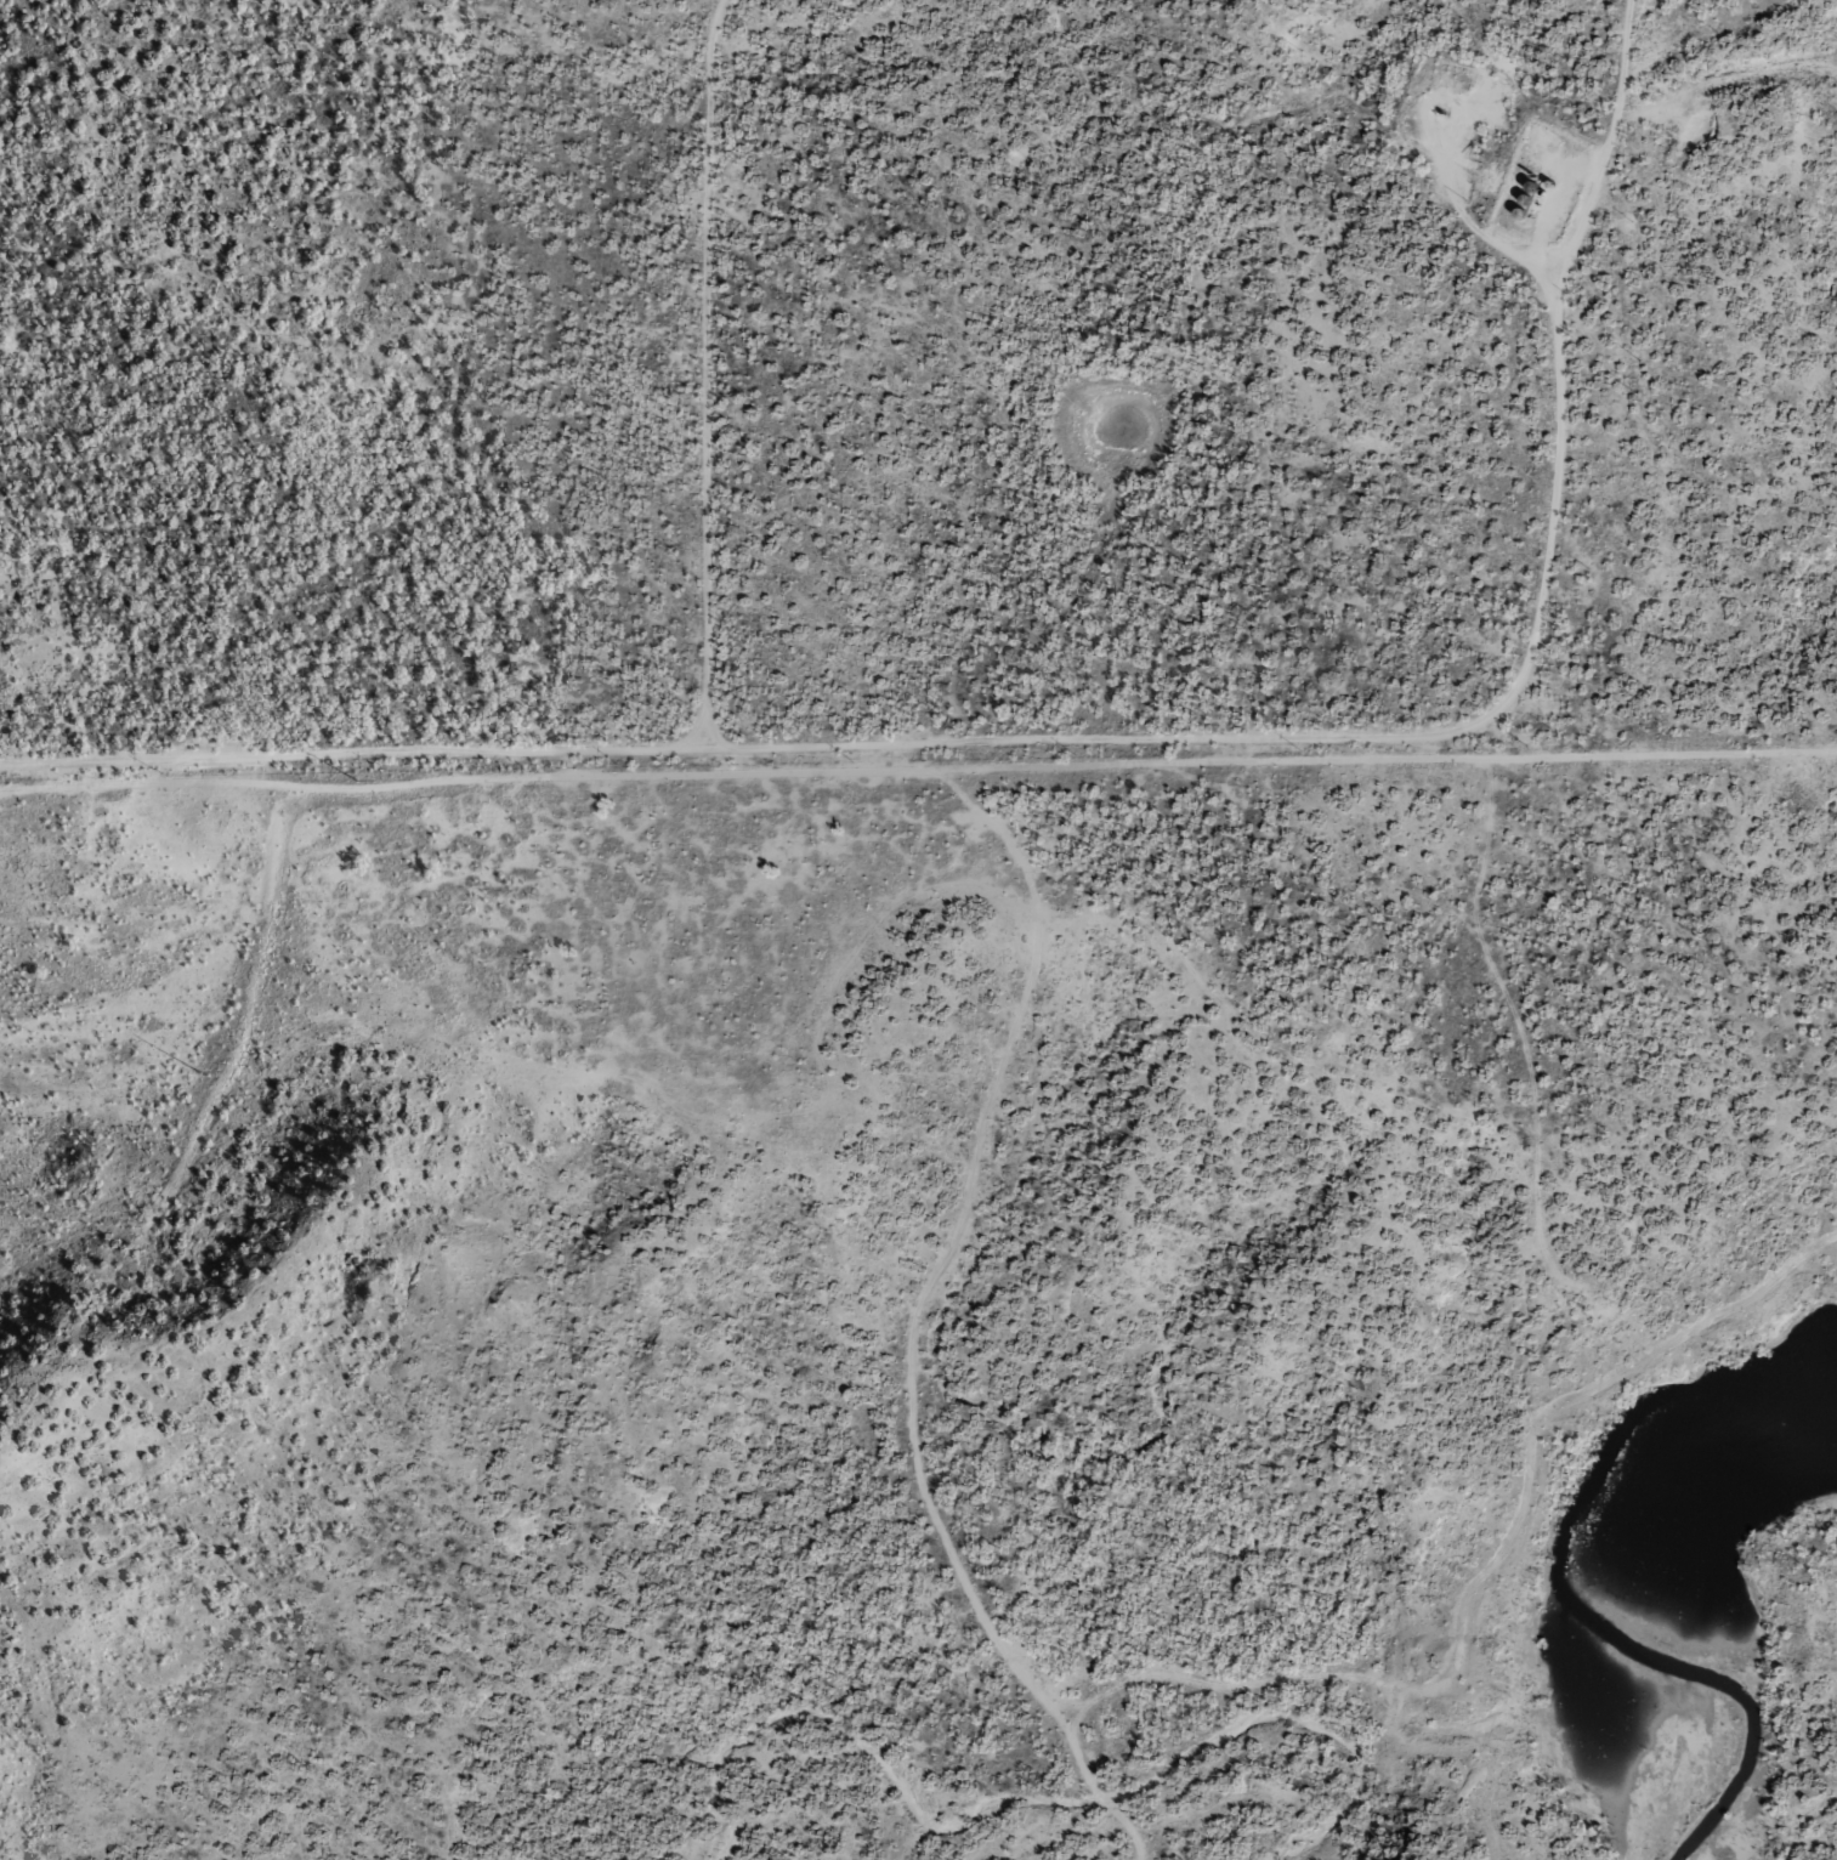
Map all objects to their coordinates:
road: (1100, 801)

